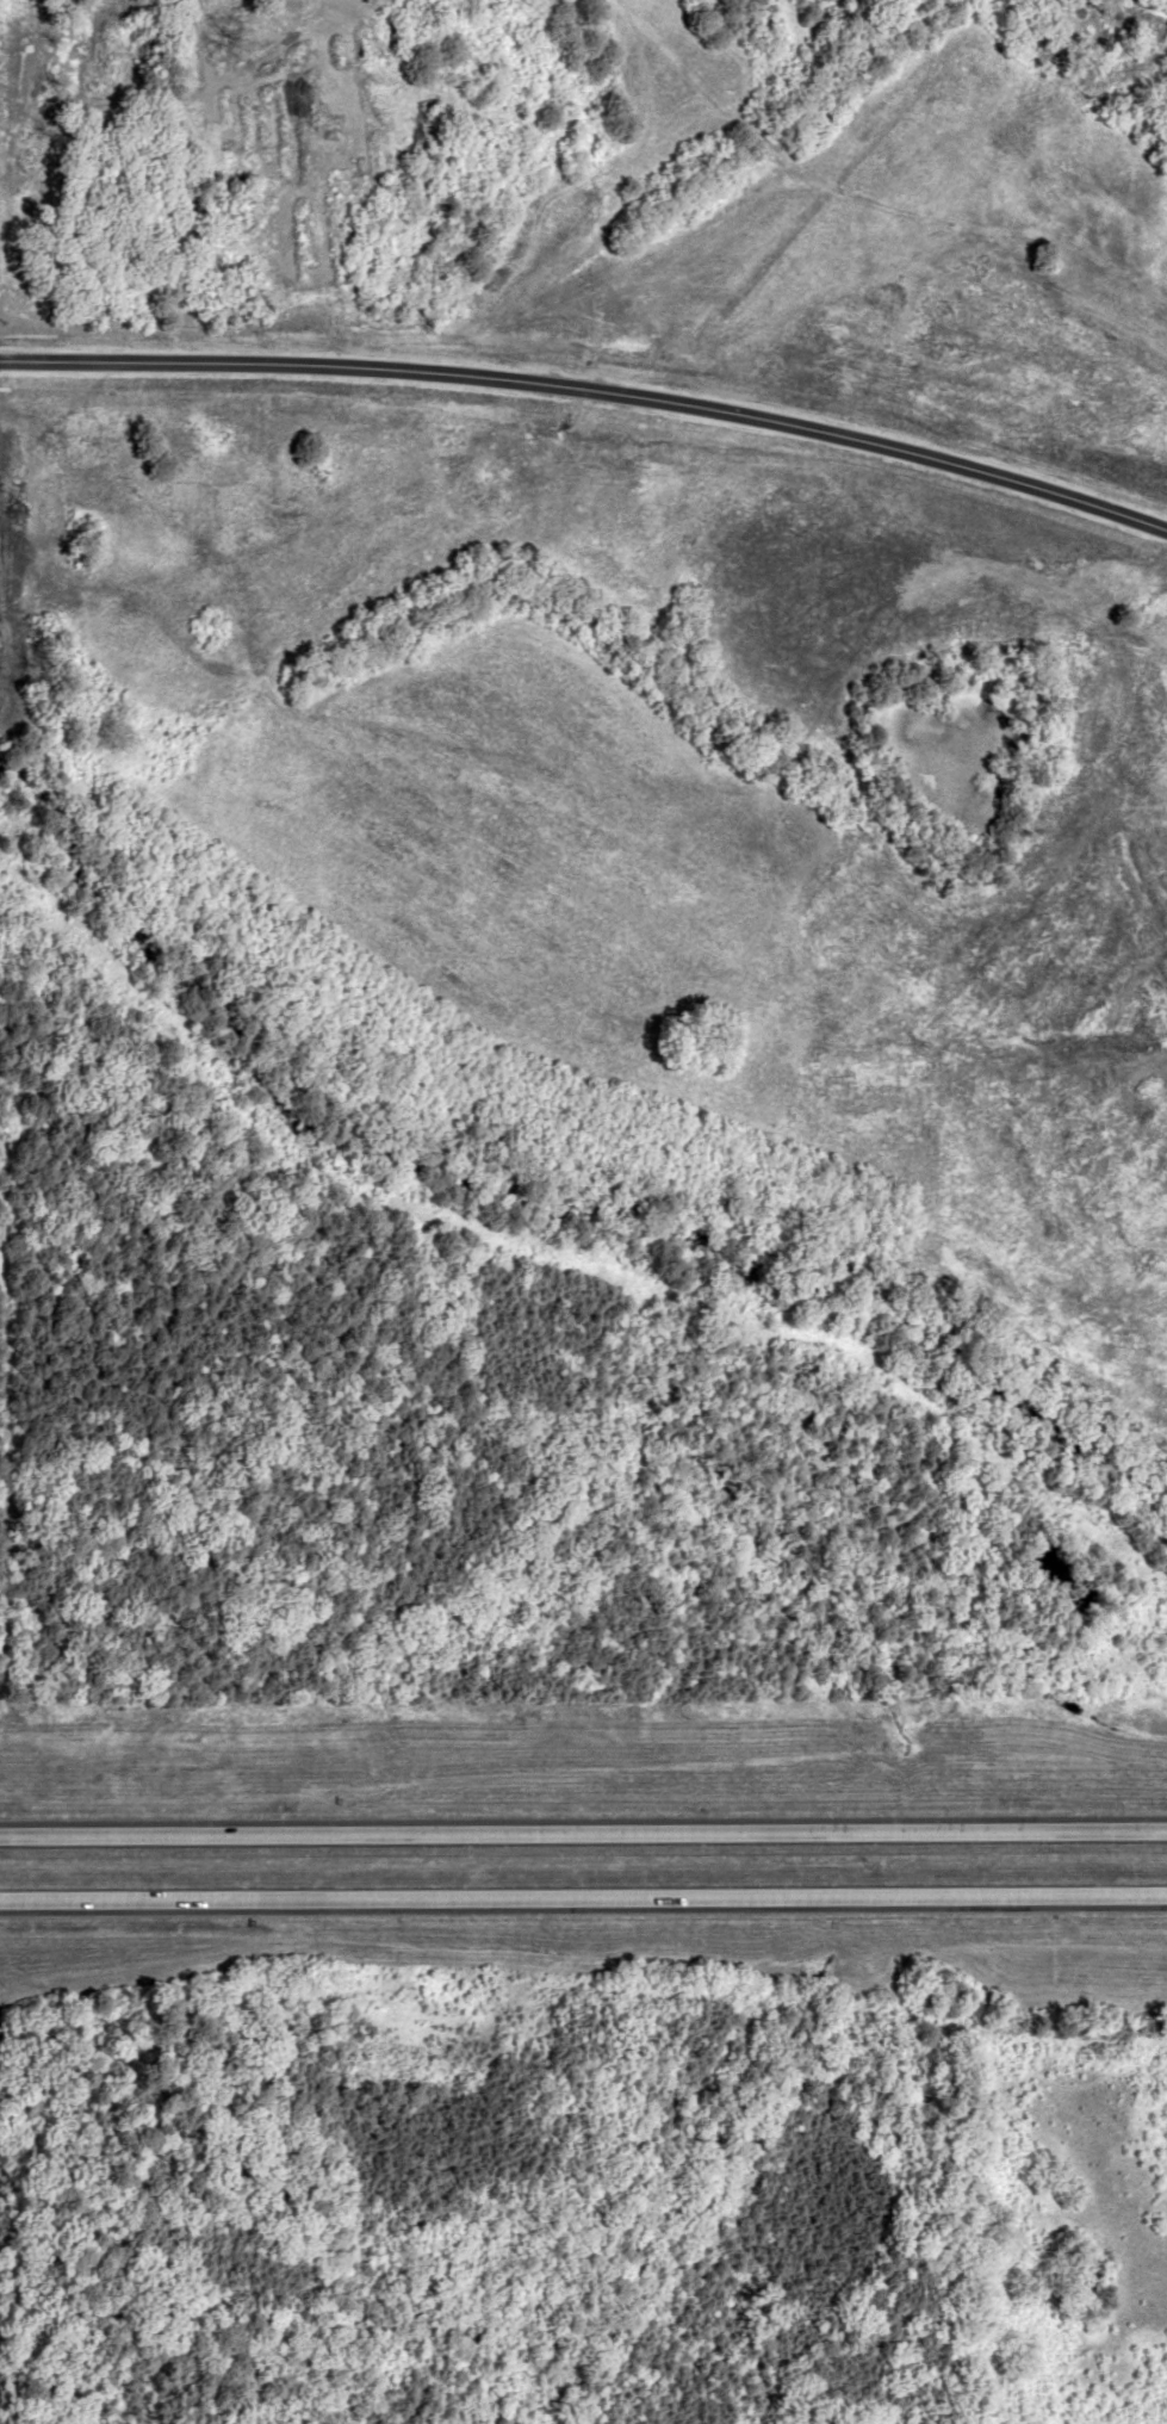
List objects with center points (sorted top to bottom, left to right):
road: (583, 1830)
road: (583, 1905)

